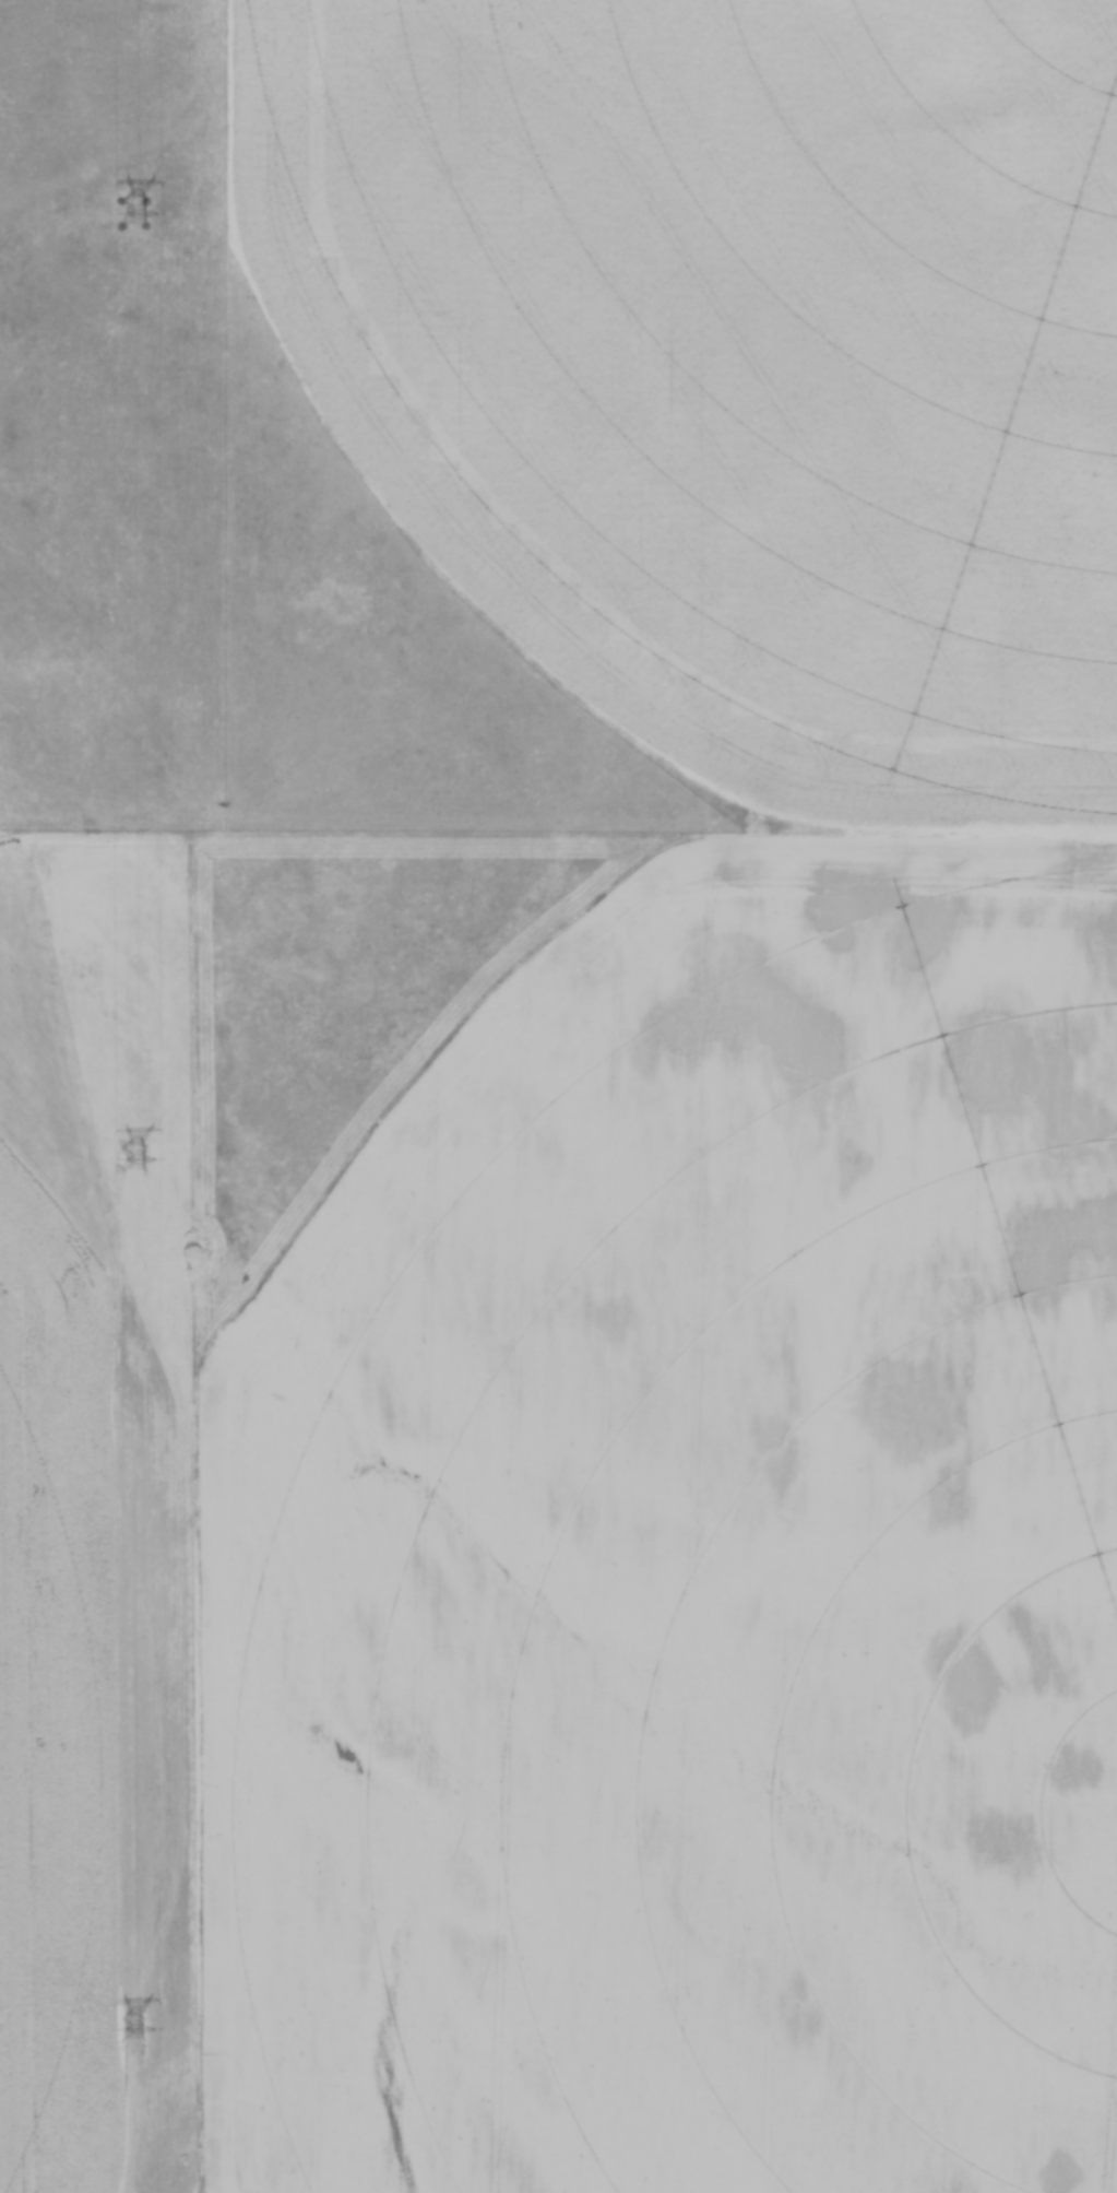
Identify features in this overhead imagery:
power tower: (136, 213)
power tower: (136, 1159)
power tower: (136, 2030)

